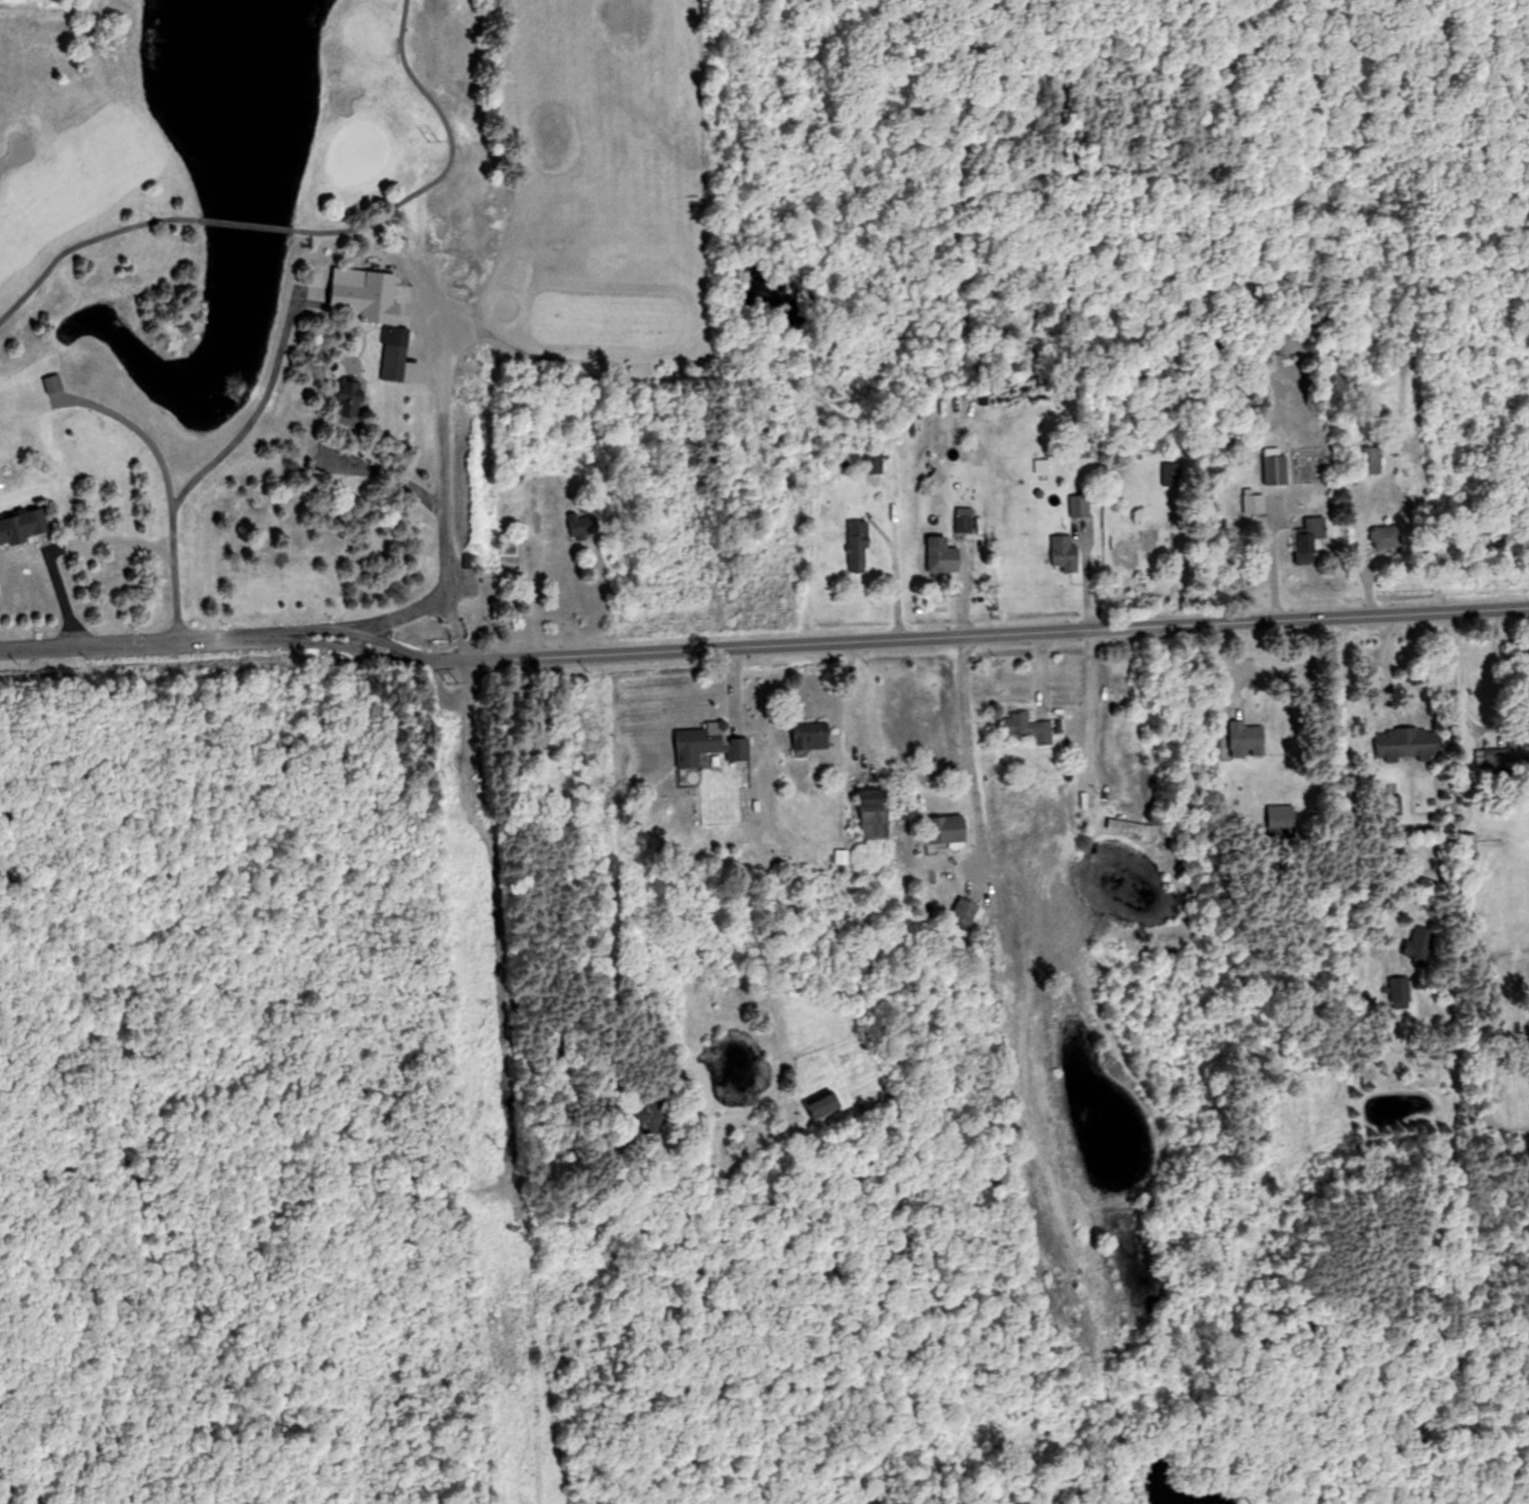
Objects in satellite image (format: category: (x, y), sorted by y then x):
power tower: (436, 132)
park: (356, 153)
road: (450, 159)
road: (82, 242)
building: (351, 302)
park: (239, 331)
building: (55, 381)
building: (348, 397)
road: (255, 412)
road: (151, 442)
building: (875, 460)
building: (1369, 460)
building: (1041, 466)
building: (1277, 466)
road: (445, 491)
building: (1253, 502)
building: (1079, 505)
building: (964, 519)
building: (23, 524)
building: (583, 525)
road: (442, 527)
building: (1311, 534)
building: (1384, 536)
road: (107, 541)
building: (507, 544)
building: (859, 546)
building: (1064, 550)
building: (943, 555)
road: (894, 585)
road: (536, 596)
road: (763, 644)
building: (1526, 659)
power tower: (445, 681)
road: (1090, 709)
building: (1028, 728)
road: (1485, 734)
road: (967, 735)
building: (814, 736)
building: (1409, 743)
building: (708, 746)
building: (875, 814)
building: (1134, 829)
building: (947, 830)
building: (966, 911)
building: (1399, 992)
park: (255, 1085)
building: (822, 1103)
building: (650, 1111)
power tower: (496, 1144)

